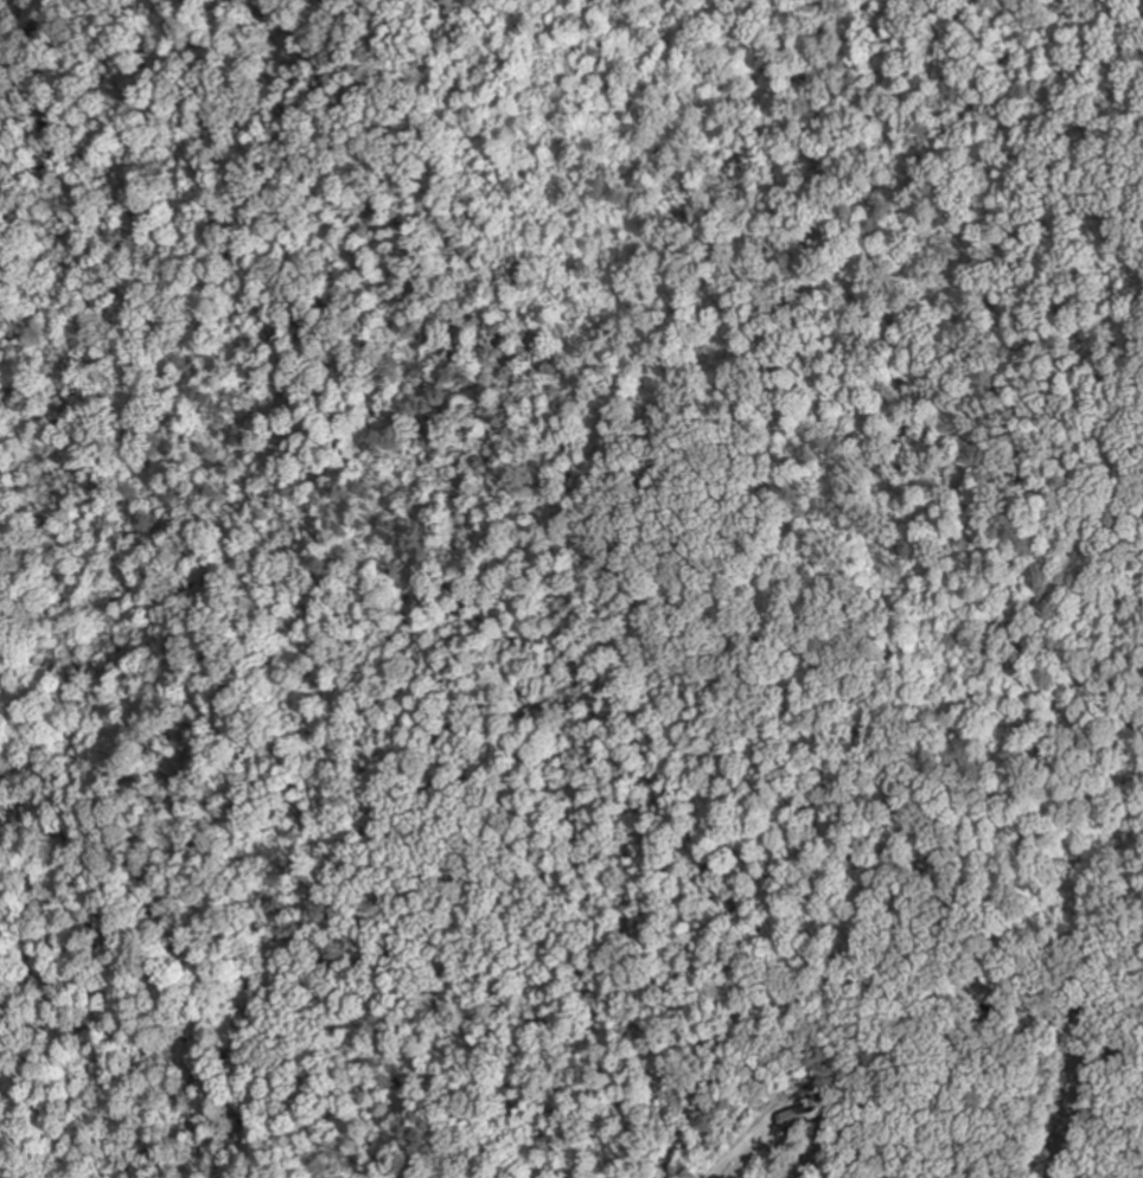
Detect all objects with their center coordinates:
road: (810, 990)
road: (737, 1150)

